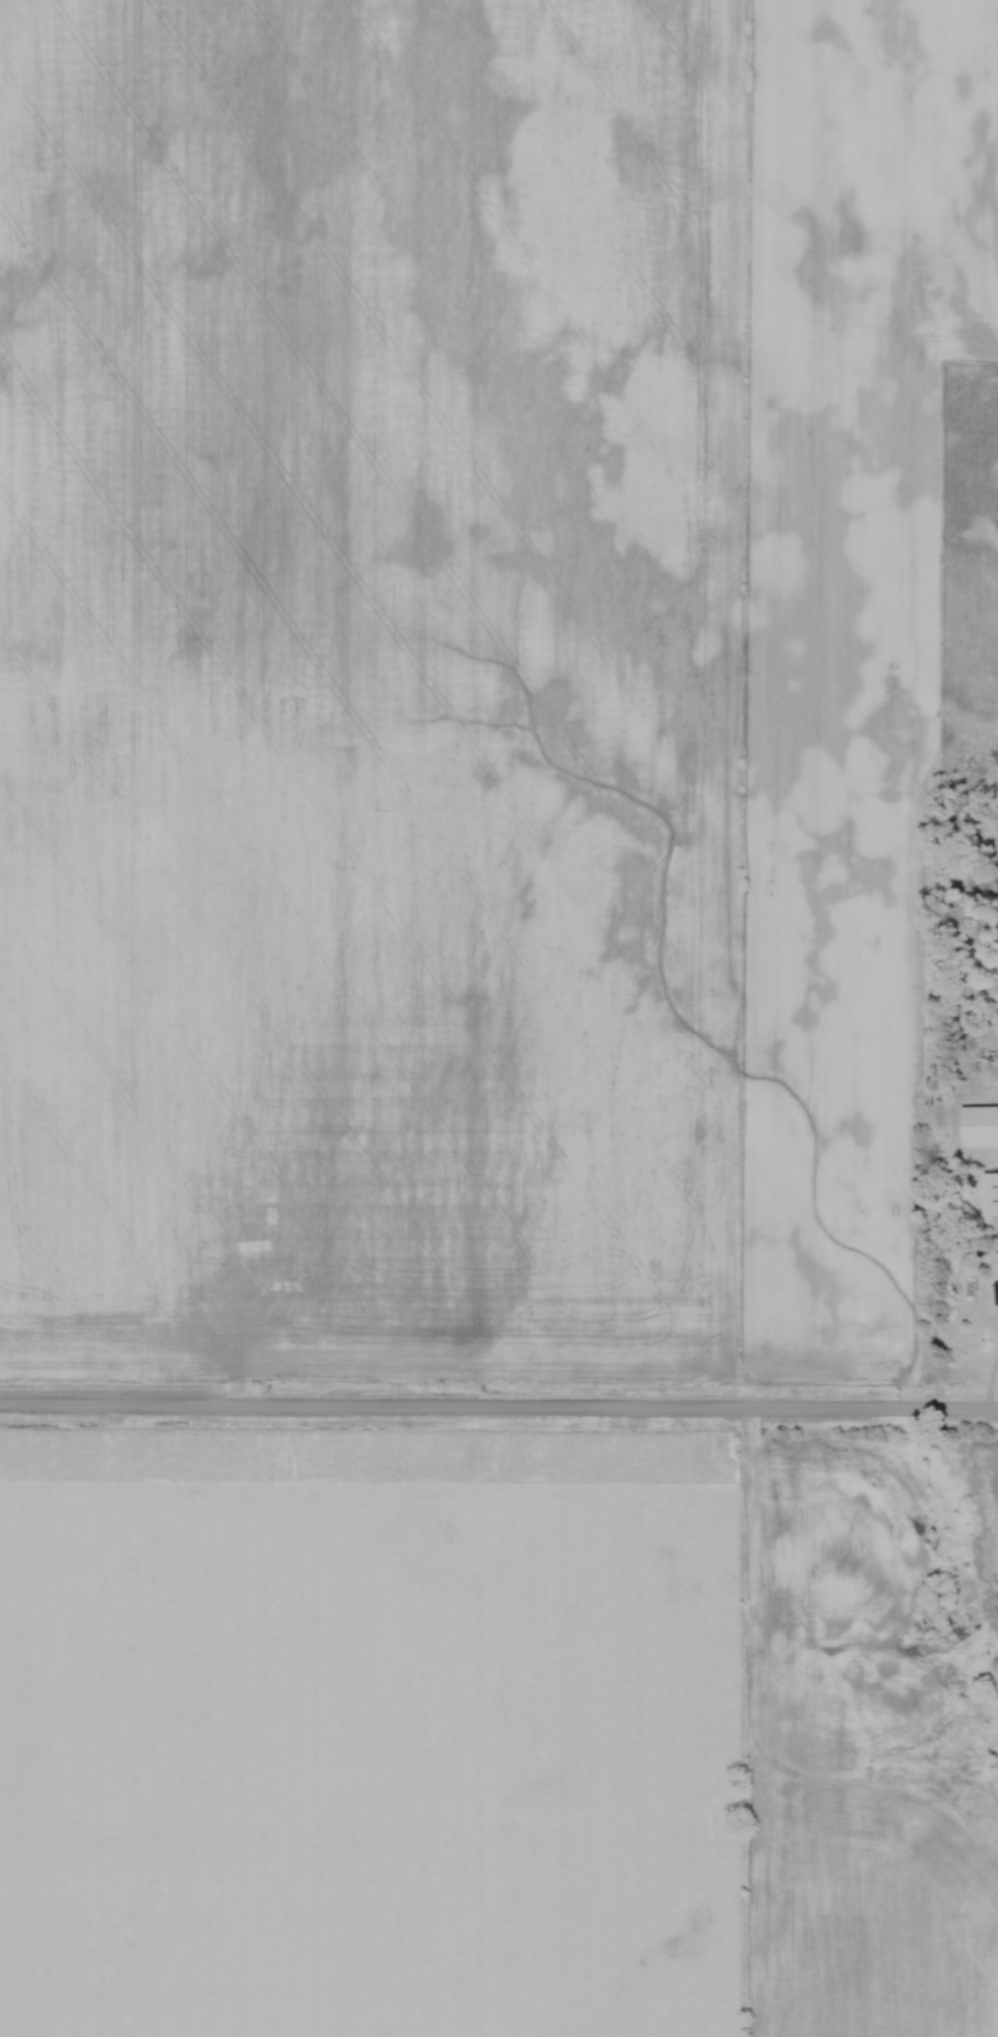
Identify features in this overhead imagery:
building: (990, 1195)
road: (498, 1410)

